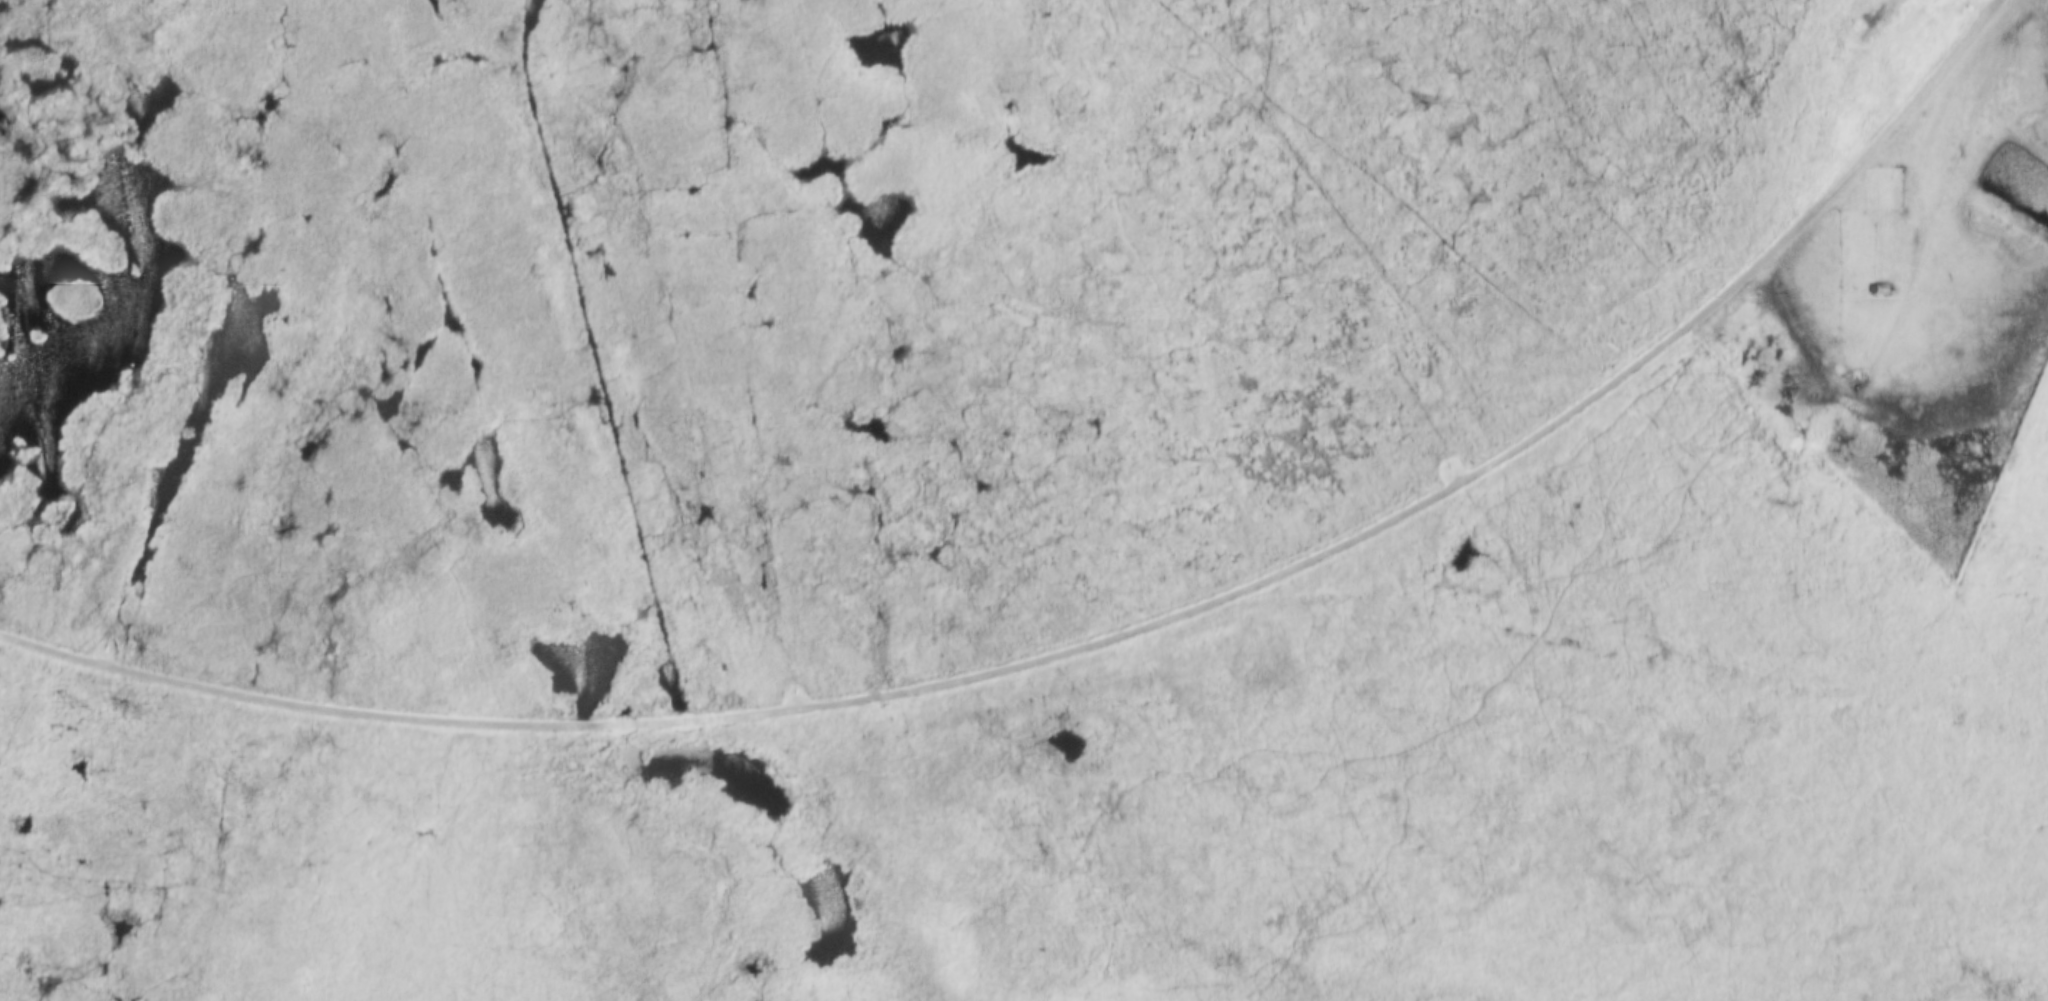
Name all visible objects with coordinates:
road: (1107, 641)

